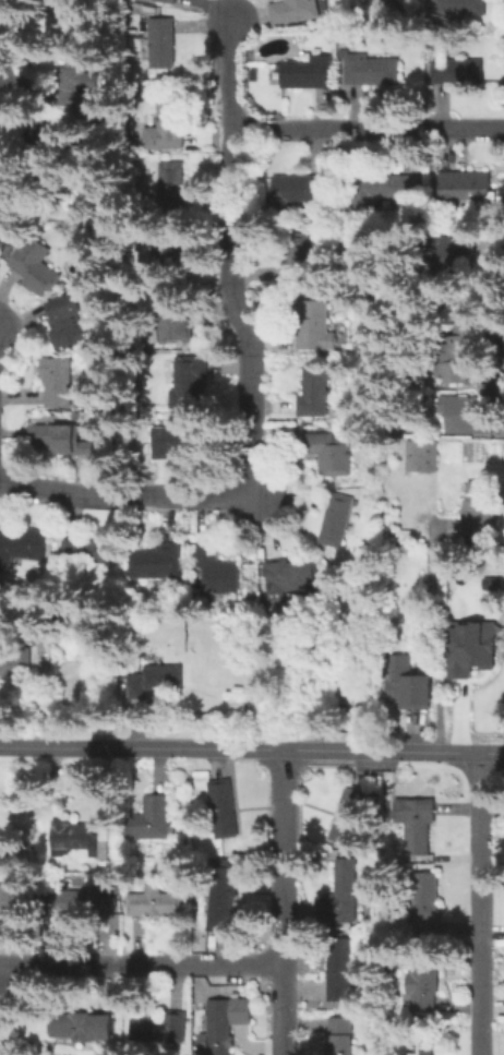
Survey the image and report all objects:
building: (163, 3)
building: (396, 3)
building: (461, 9)
building: (293, 11)
road: (4, 15)
building: (165, 46)
building: (373, 71)
building: (461, 71)
building: (308, 74)
building: (81, 89)
building: (168, 131)
road: (368, 132)
building: (12, 171)
building: (175, 190)
building: (386, 191)
building: (468, 191)
building: (297, 193)
road: (231, 255)
building: (451, 257)
building: (296, 259)
building: (169, 260)
building: (36, 268)
building: (65, 323)
building: (173, 327)
building: (316, 328)
road: (501, 337)
building: (457, 352)
building: (59, 384)
building: (191, 384)
building: (317, 392)
building: (465, 416)
building: (57, 439)
building: (179, 443)
building: (331, 455)
building: (424, 458)
road: (129, 499)
building: (477, 511)
building: (335, 524)
building: (23, 547)
building: (87, 550)
building: (155, 564)
building: (217, 572)
building: (287, 579)
building: (492, 583)
road: (435, 619)
building: (471, 648)
building: (14, 662)
building: (154, 682)
building: (407, 684)
building: (345, 688)
road: (92, 747)
road: (284, 751)
road: (443, 754)
building: (225, 811)
building: (347, 818)
building: (154, 819)
building: (419, 825)
building: (73, 836)
building: (9, 894)
building: (346, 894)
building: (71, 901)
building: (221, 902)
road: (286, 902)
building: (156, 903)
road: (482, 904)
building: (425, 909)
road: (142, 966)
building: (341, 971)
building: (423, 990)
building: (227, 1023)
building: (85, 1030)
building: (159, 1030)
building: (341, 1036)
building: (421, 1052)

